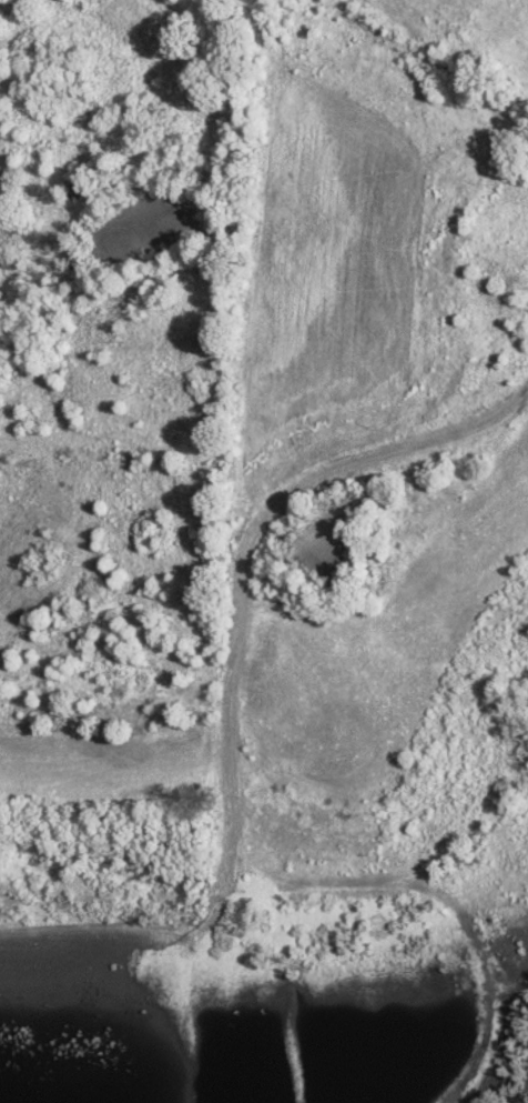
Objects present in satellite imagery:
crop: (331, 278)
crop: (383, 656)
crop: (108, 770)

